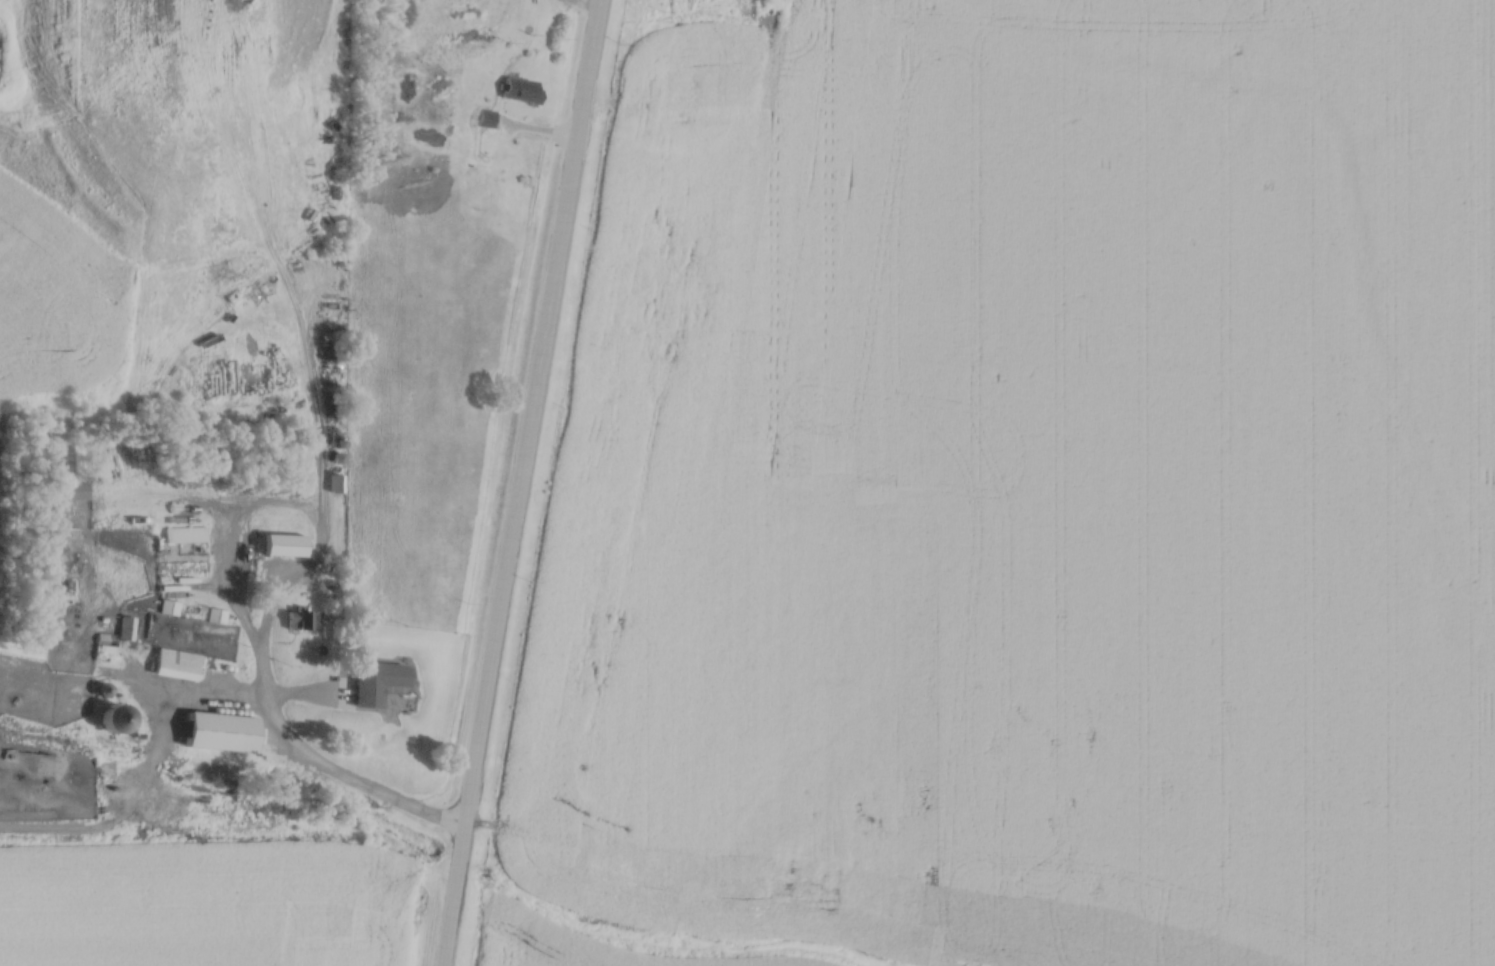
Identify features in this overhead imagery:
building: (522, 86)
building: (487, 115)
building: (336, 480)
road: (516, 482)
building: (72, 486)
building: (184, 531)
building: (285, 542)
building: (169, 604)
building: (216, 612)
building: (298, 616)
building: (126, 625)
building: (176, 660)
building: (378, 678)
building: (221, 728)
road: (316, 763)

